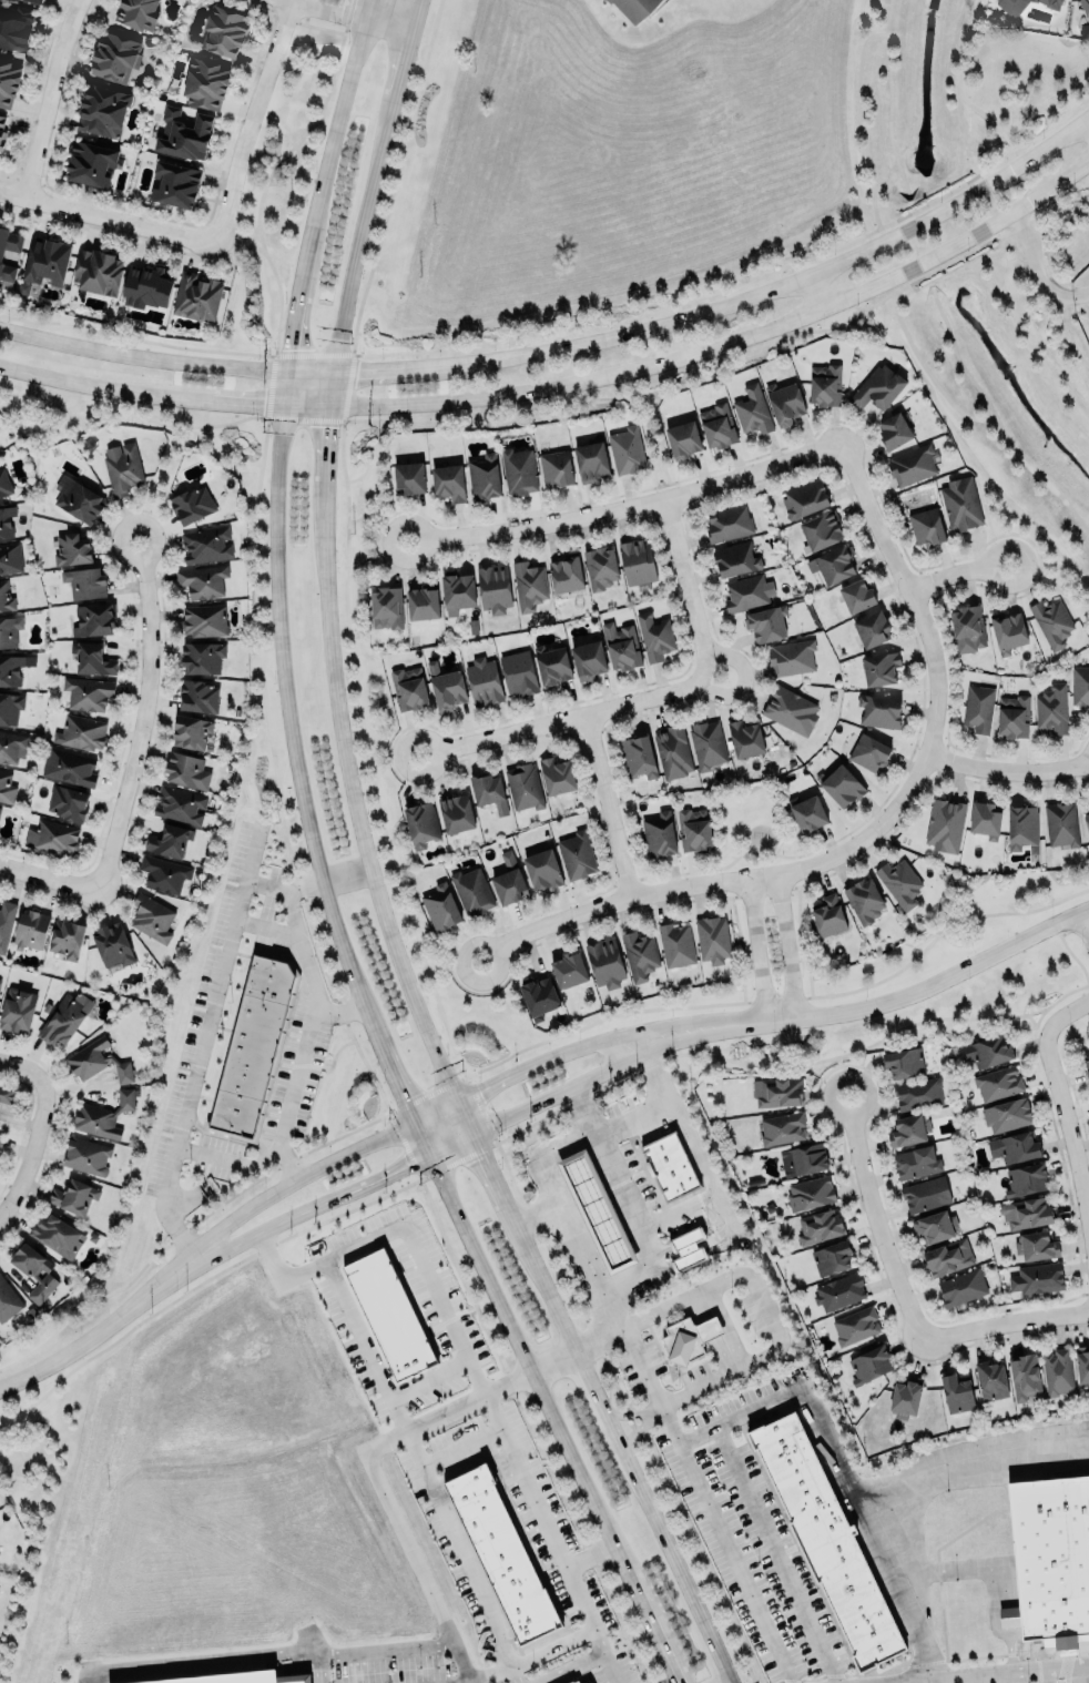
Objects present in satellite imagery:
building: (1034, 0)
building: (34, 1)
road: (410, 2)
building: (1052, 3)
building: (1011, 6)
building: (1085, 6)
building: (635, 8)
building: (138, 12)
road: (344, 18)
building: (14, 27)
building: (224, 30)
building: (115, 55)
building: (8, 82)
building: (206, 82)
road: (958, 84)
road: (49, 98)
road: (888, 100)
building: (103, 110)
road: (252, 120)
road: (861, 124)
road: (862, 124)
building: (2, 132)
building: (183, 132)
building: (91, 163)
road: (272, 170)
road: (395, 178)
building: (173, 184)
road: (109, 217)
road: (103, 233)
road: (252, 246)
road: (235, 247)
building: (0, 257)
building: (45, 261)
road: (1037, 270)
building: (98, 272)
road: (740, 281)
building: (146, 285)
road: (814, 295)
building: (196, 297)
wastewater plant: (1080, 302)
road: (134, 339)
road: (568, 349)
road: (352, 356)
road: (731, 361)
traffic signals: (289, 373)
traffic signals: (332, 374)
road: (926, 374)
road: (568, 384)
building: (826, 385)
building: (878, 387)
building: (785, 402)
traffic signals: (287, 403)
traffic signals: (328, 403)
building: (753, 410)
road: (996, 420)
building: (717, 425)
building: (894, 430)
building: (683, 438)
road: (652, 448)
building: (627, 449)
building: (591, 460)
building: (913, 465)
building: (123, 467)
building: (556, 467)
building: (518, 470)
building: (409, 476)
building: (484, 476)
building: (449, 481)
building: (4, 483)
building: (805, 498)
building: (77, 499)
building: (192, 504)
building: (961, 504)
road: (627, 510)
road: (381, 515)
building: (6, 520)
building: (729, 523)
building: (926, 527)
building: (822, 529)
building: (205, 545)
building: (71, 549)
building: (10, 557)
building: (735, 558)
building: (637, 561)
building: (833, 564)
road: (1048, 565)
building: (600, 567)
building: (567, 574)
road: (957, 575)
building: (203, 580)
building: (84, 582)
building: (528, 586)
building: (493, 588)
building: (457, 592)
road: (686, 592)
building: (747, 592)
building: (857, 596)
building: (6, 598)
building: (423, 602)
building: (386, 608)
building: (93, 620)
building: (203, 620)
building: (1051, 621)
building: (766, 622)
building: (968, 628)
building: (872, 629)
building: (9, 630)
building: (1008, 631)
building: (654, 636)
building: (621, 646)
building: (203, 657)
building: (92, 658)
building: (791, 658)
building: (588, 659)
building: (551, 663)
building: (881, 667)
building: (12, 668)
building: (518, 672)
building: (484, 681)
building: (1080, 685)
building: (446, 687)
building: (409, 688)
building: (86, 693)
building: (197, 695)
building: (10, 707)
building: (979, 708)
building: (1052, 708)
building: (791, 710)
building: (879, 711)
building: (1014, 716)
road: (145, 718)
road: (564, 719)
building: (81, 732)
building: (190, 732)
building: (745, 738)
building: (706, 744)
building: (12, 747)
road: (393, 748)
building: (672, 751)
building: (869, 752)
building: (638, 757)
building: (69, 767)
building: (187, 770)
building: (556, 774)
road: (1008, 774)
building: (842, 785)
building: (6, 787)
building: (523, 787)
building: (489, 792)
building: (67, 803)
building: (180, 805)
road: (609, 805)
building: (807, 812)
building: (456, 813)
building: (985, 819)
building: (1087, 820)
building: (1061, 823)
building: (421, 824)
building: (946, 824)
building: (1021, 827)
building: (693, 829)
road: (876, 831)
building: (659, 834)
building: (52, 837)
building: (169, 841)
building: (577, 854)
building: (542, 869)
road: (322, 871)
road: (372, 872)
building: (164, 873)
road: (50, 878)
road: (327, 879)
building: (509, 880)
building: (899, 883)
building: (472, 892)
building: (865, 901)
building: (440, 908)
building: (827, 915)
building: (151, 917)
building: (6, 923)
road: (1085, 923)
road: (268, 927)
building: (31, 930)
road: (798, 935)
road: (937, 936)
building: (65, 939)
building: (712, 939)
road: (739, 940)
building: (112, 944)
building: (675, 945)
road: (787, 947)
road: (756, 952)
building: (639, 954)
building: (604, 963)
road: (452, 966)
building: (568, 970)
building: (0, 981)
building: (539, 997)
road: (338, 1007)
road: (867, 1007)
building: (17, 1010)
building: (64, 1017)
building: (254, 1045)
road: (203, 1046)
building: (987, 1051)
road: (306, 1053)
road: (836, 1056)
building: (96, 1061)
building: (1086, 1062)
building: (904, 1063)
road: (27, 1071)
road: (369, 1074)
road: (465, 1076)
building: (998, 1083)
traffic signals: (481, 1091)
building: (777, 1093)
building: (918, 1093)
building: (7, 1094)
traffic signals: (403, 1097)
road: (1062, 1101)
road: (664, 1102)
building: (1007, 1115)
building: (102, 1116)
road: (403, 1127)
building: (782, 1128)
road: (355, 1131)
building: (909, 1131)
building: (0, 1137)
building: (1015, 1147)
road: (37, 1152)
traffic signals: (481, 1155)
building: (86, 1156)
building: (804, 1158)
building: (916, 1162)
road: (288, 1163)
road: (423, 1165)
building: (671, 1165)
traffic signals: (408, 1172)
building: (1027, 1178)
road: (622, 1179)
road: (560, 1193)
building: (810, 1193)
building: (926, 1194)
building: (73, 1196)
road: (685, 1208)
building: (597, 1209)
gas station: (597, 1209)
building: (1026, 1213)
road: (541, 1216)
road: (878, 1223)
road: (406, 1225)
building: (820, 1226)
building: (935, 1227)
building: (57, 1236)
building: (1036, 1246)
building: (689, 1247)
building: (947, 1257)
building: (832, 1258)
building: (35, 1271)
building: (1038, 1278)
building: (963, 1287)
road: (754, 1288)
building: (839, 1291)
building: (8, 1301)
building: (389, 1314)
road: (1004, 1325)
building: (855, 1326)
road: (104, 1328)
building: (709, 1328)
building: (683, 1341)
road: (363, 1344)
road: (553, 1362)
building: (869, 1365)
building: (1082, 1365)
building: (1058, 1372)
building: (1024, 1377)
road: (429, 1378)
building: (991, 1380)
building: (956, 1393)
building: (905, 1399)
road: (629, 1413)
road: (670, 1426)
road: (638, 1431)
road: (461, 1446)
road: (967, 1453)
road: (370, 1464)
road: (845, 1484)
road: (540, 1510)
building: (830, 1540)
road: (459, 1547)
building: (503, 1553)
road: (777, 1555)
road: (588, 1557)
building: (1054, 1559)
road: (737, 1563)
road: (949, 1574)
road: (289, 1652)
road: (605, 1654)
road: (532, 1659)
road: (319, 1667)
road: (571, 1667)
road: (1009, 1669)
road: (1083, 1673)
road: (511, 1674)
road: (1046, 1674)
road: (1007, 1676)
road: (971, 1677)
road: (929, 1679)
building: (576, 1682)
building: (588, 1682)

